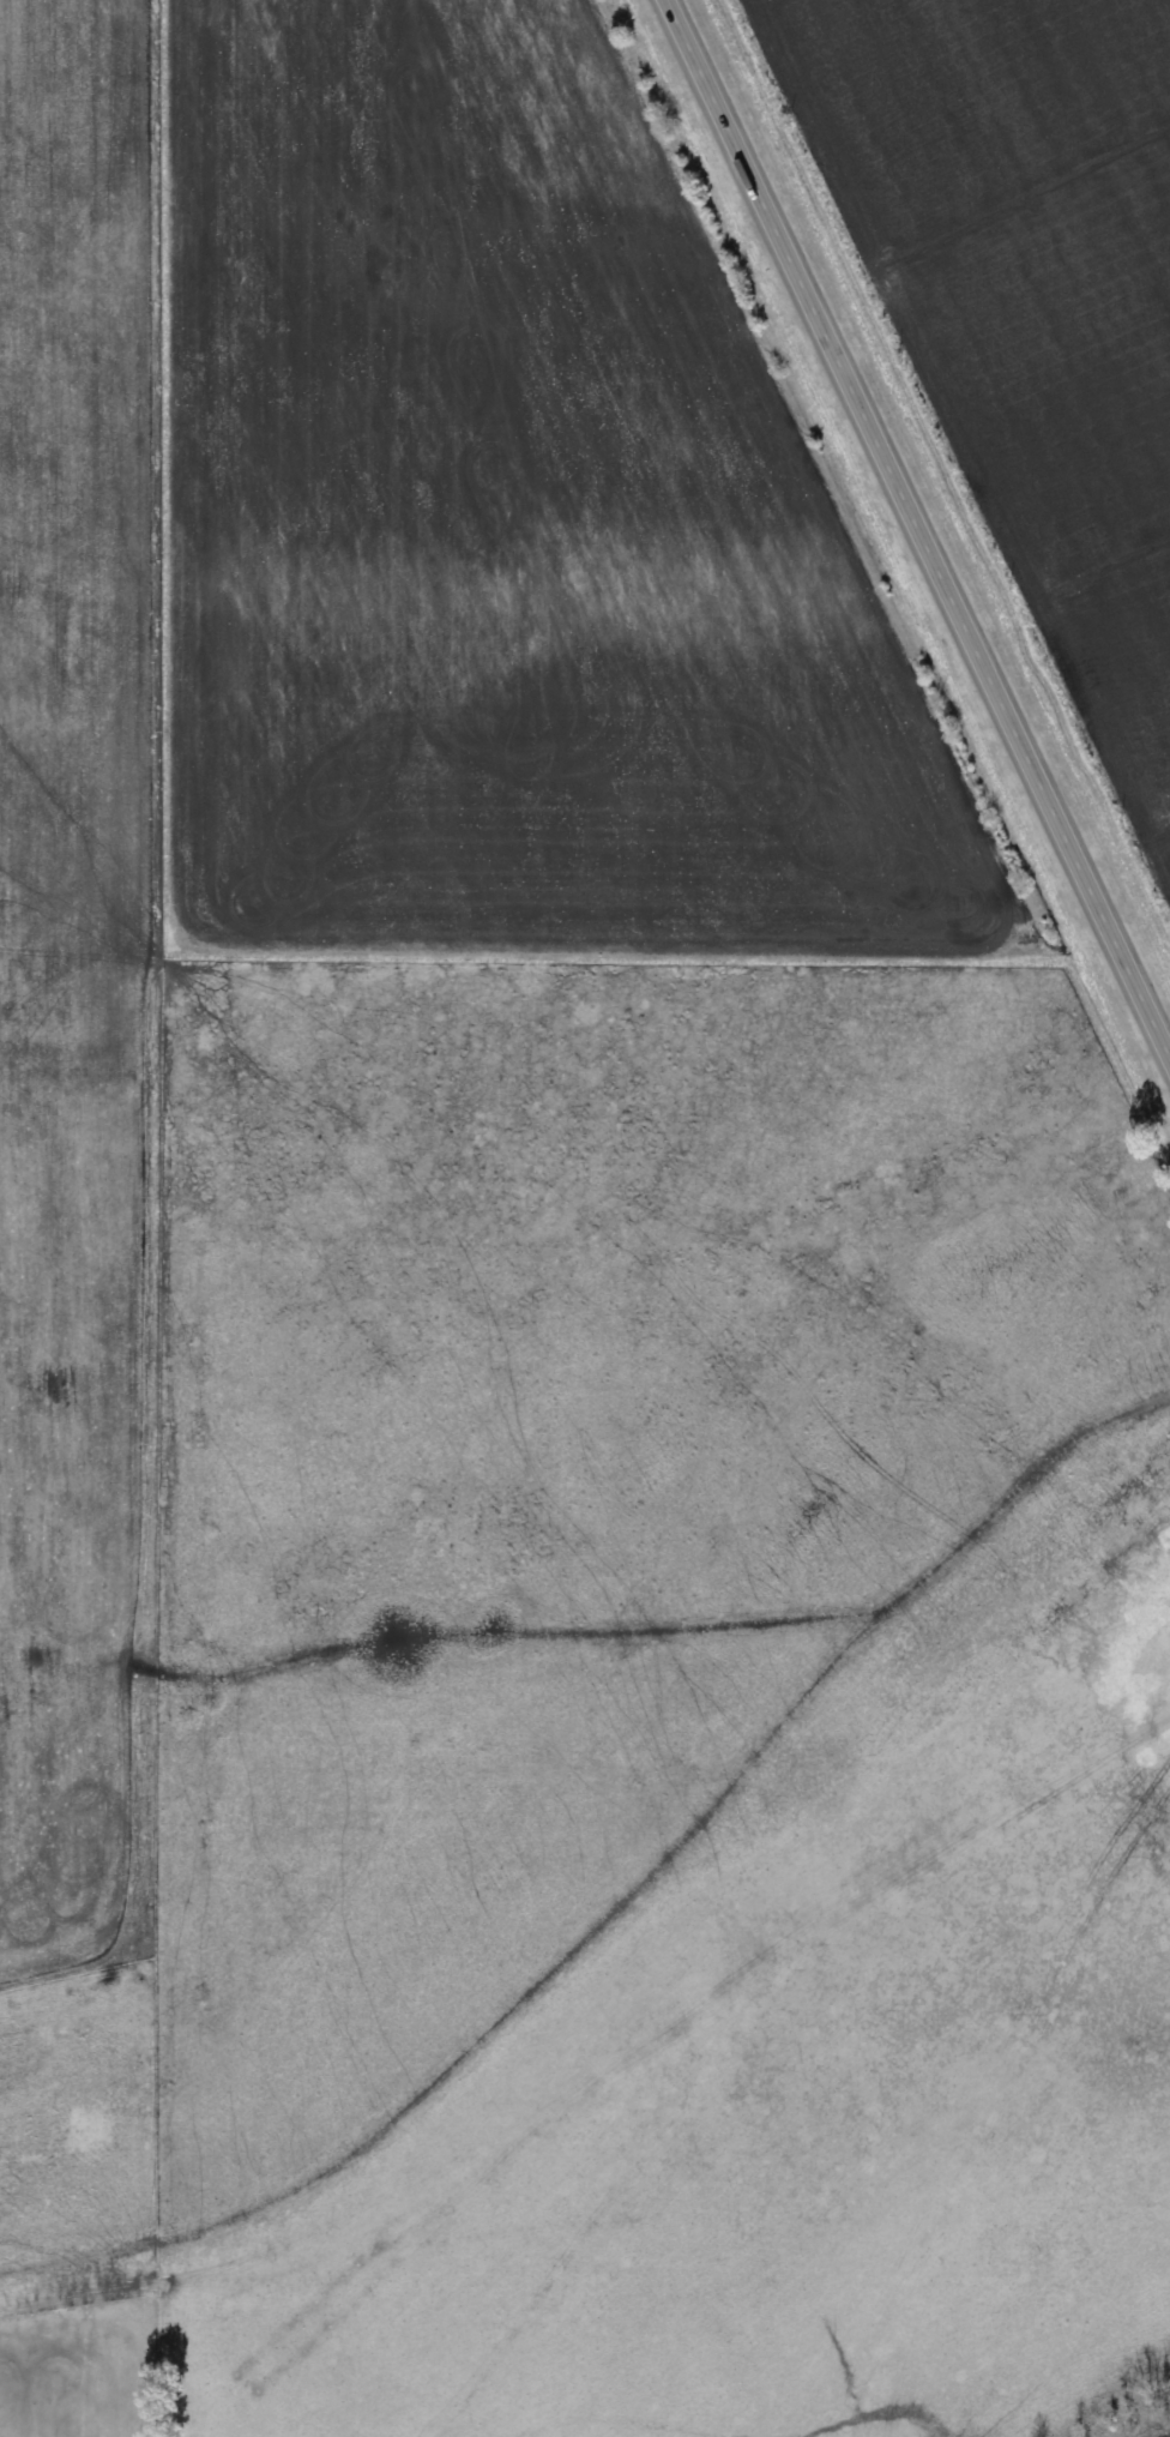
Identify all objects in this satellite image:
road: (916, 530)

